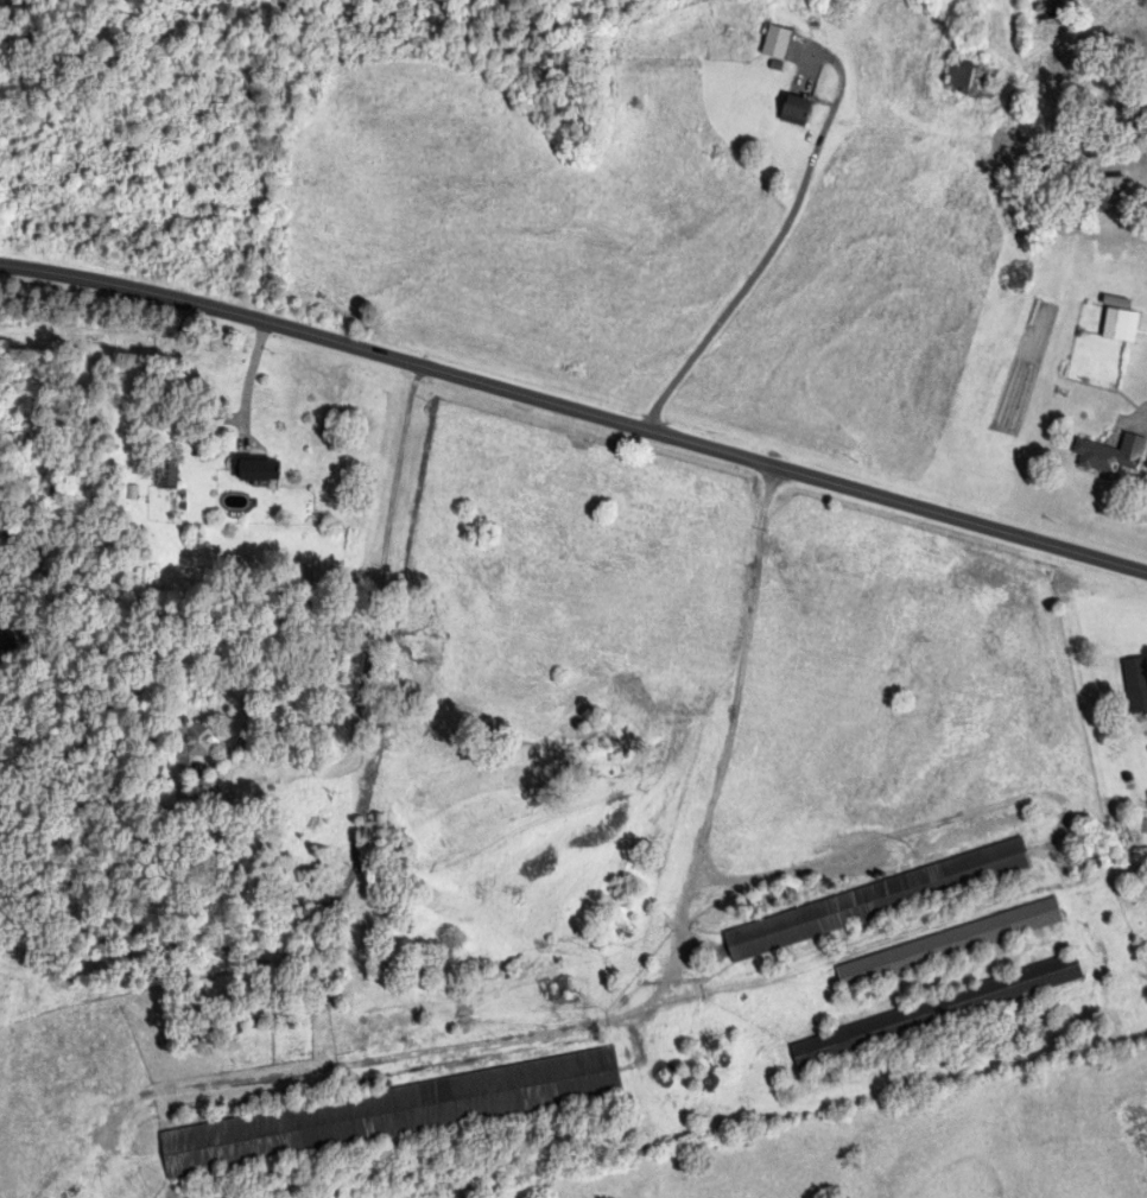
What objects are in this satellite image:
building: (775, 43)
building: (970, 81)
building: (794, 112)
building: (1109, 195)
road: (769, 251)
building: (1115, 325)
road: (249, 378)
road: (575, 412)
building: (1110, 456)
building: (256, 469)
building: (165, 474)
road: (374, 621)
building: (1136, 684)
building: (195, 742)
building: (876, 901)
building: (948, 945)
road: (655, 995)
building: (934, 1013)
building: (389, 1113)

